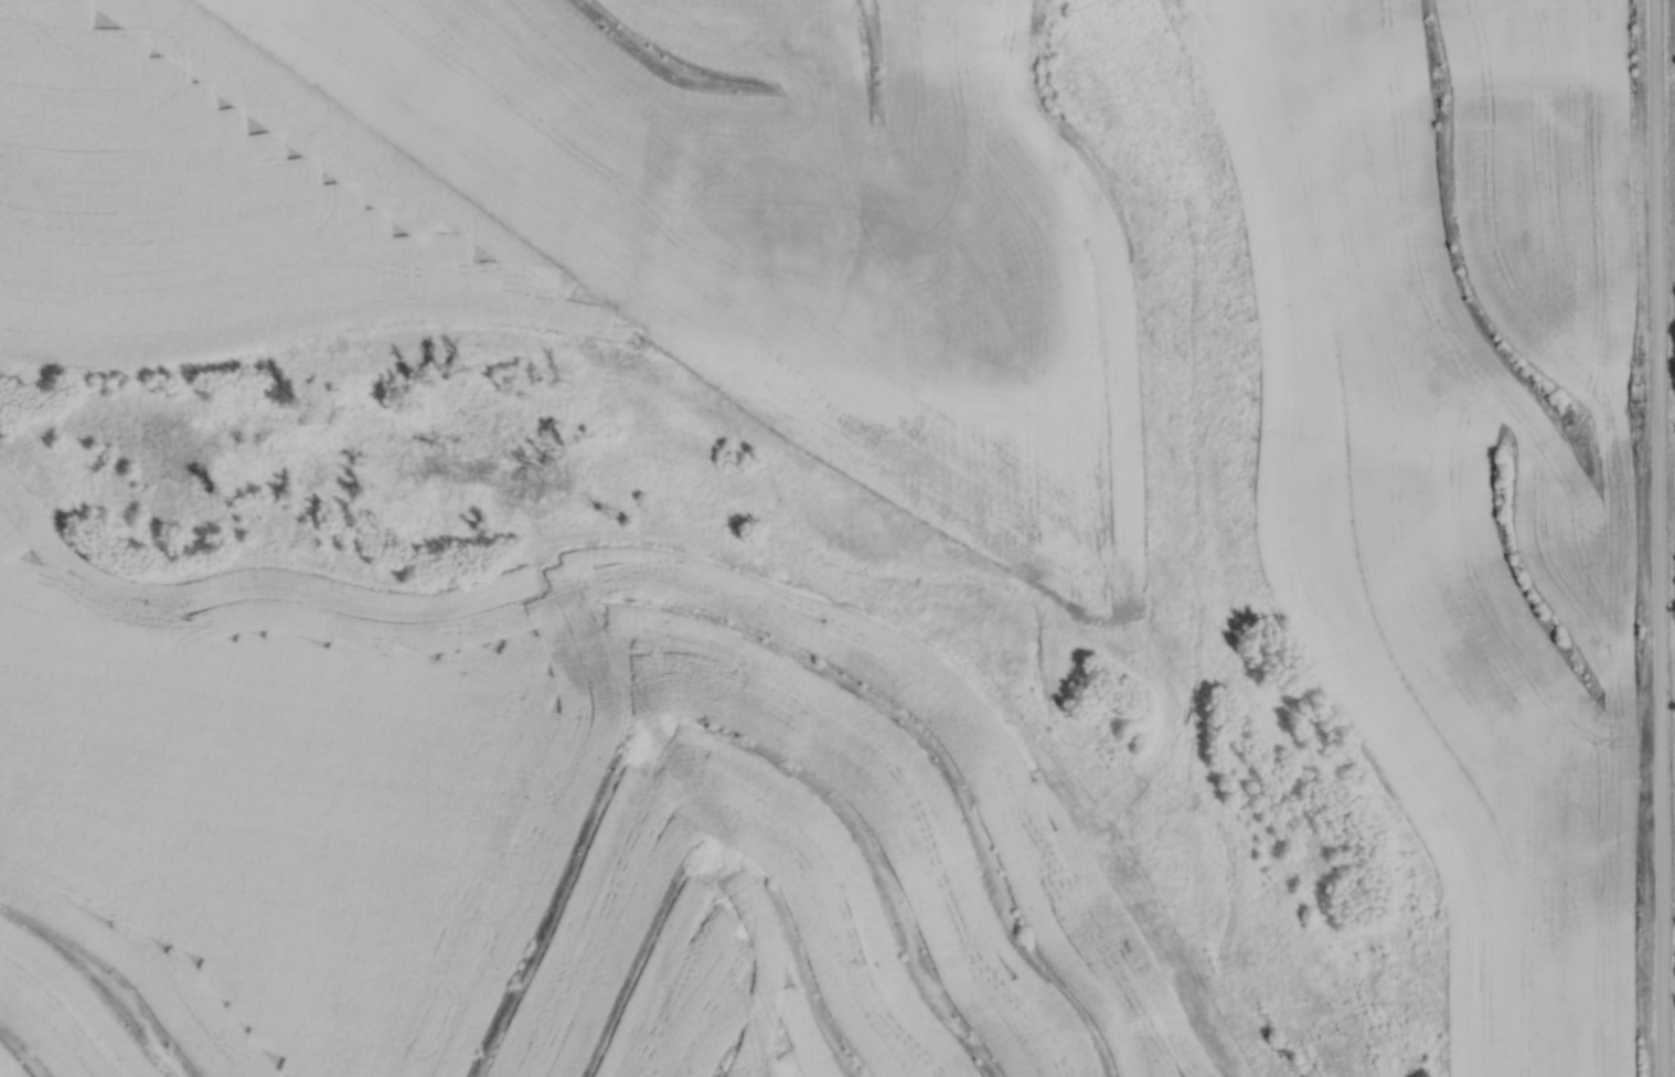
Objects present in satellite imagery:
road: (1656, 538)

